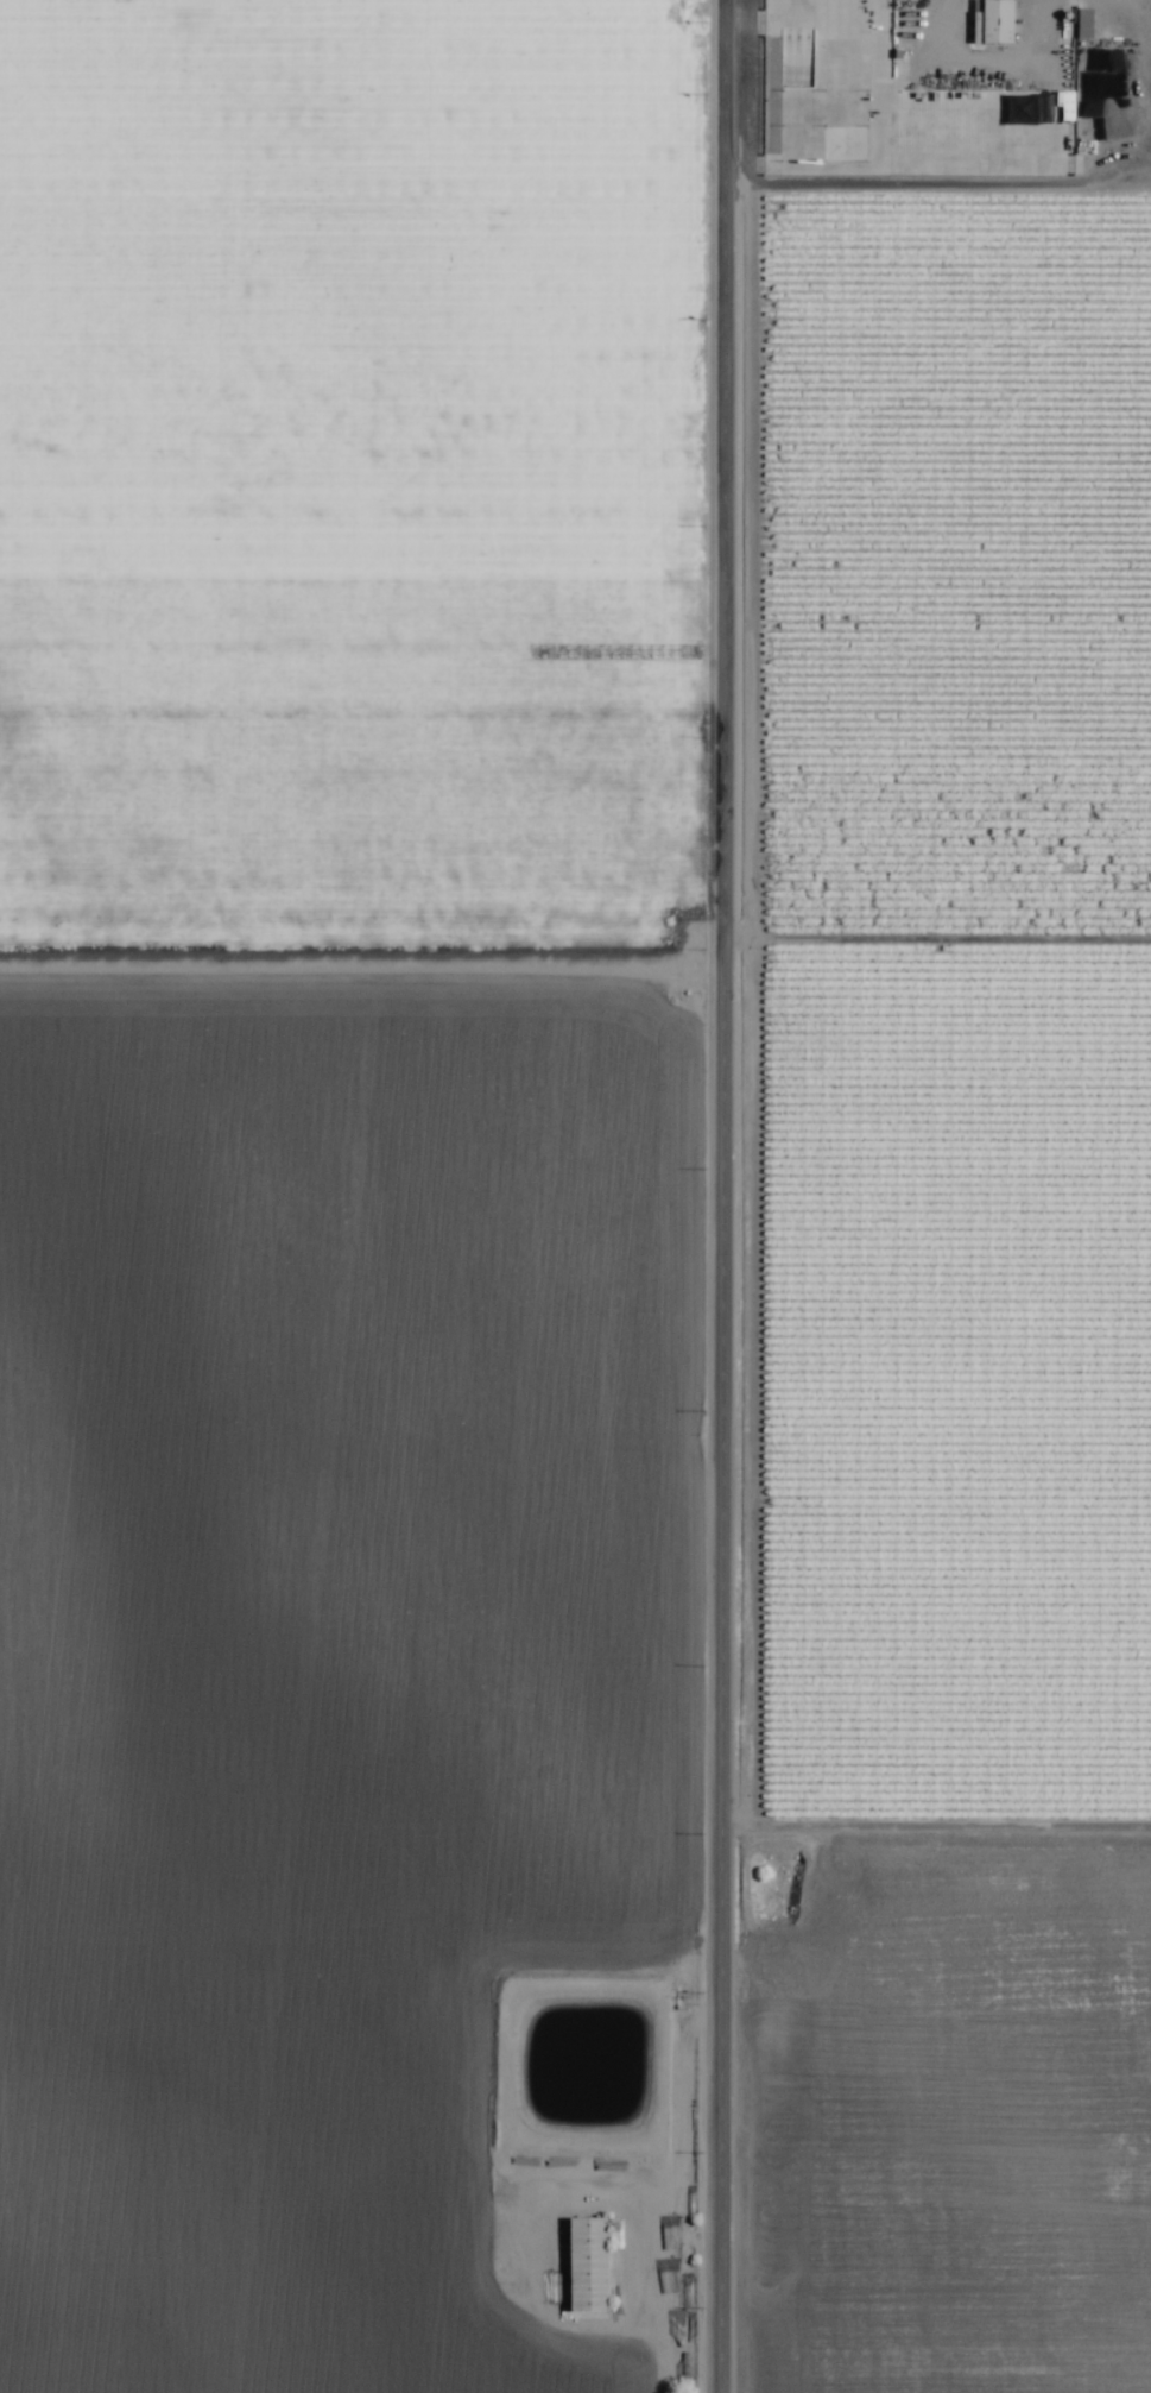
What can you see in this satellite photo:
building: (997, 21)
road: (575, 961)
crop: (575, 1196)
road: (728, 1196)
wastewater plant: (577, 2060)
building: (587, 2265)

